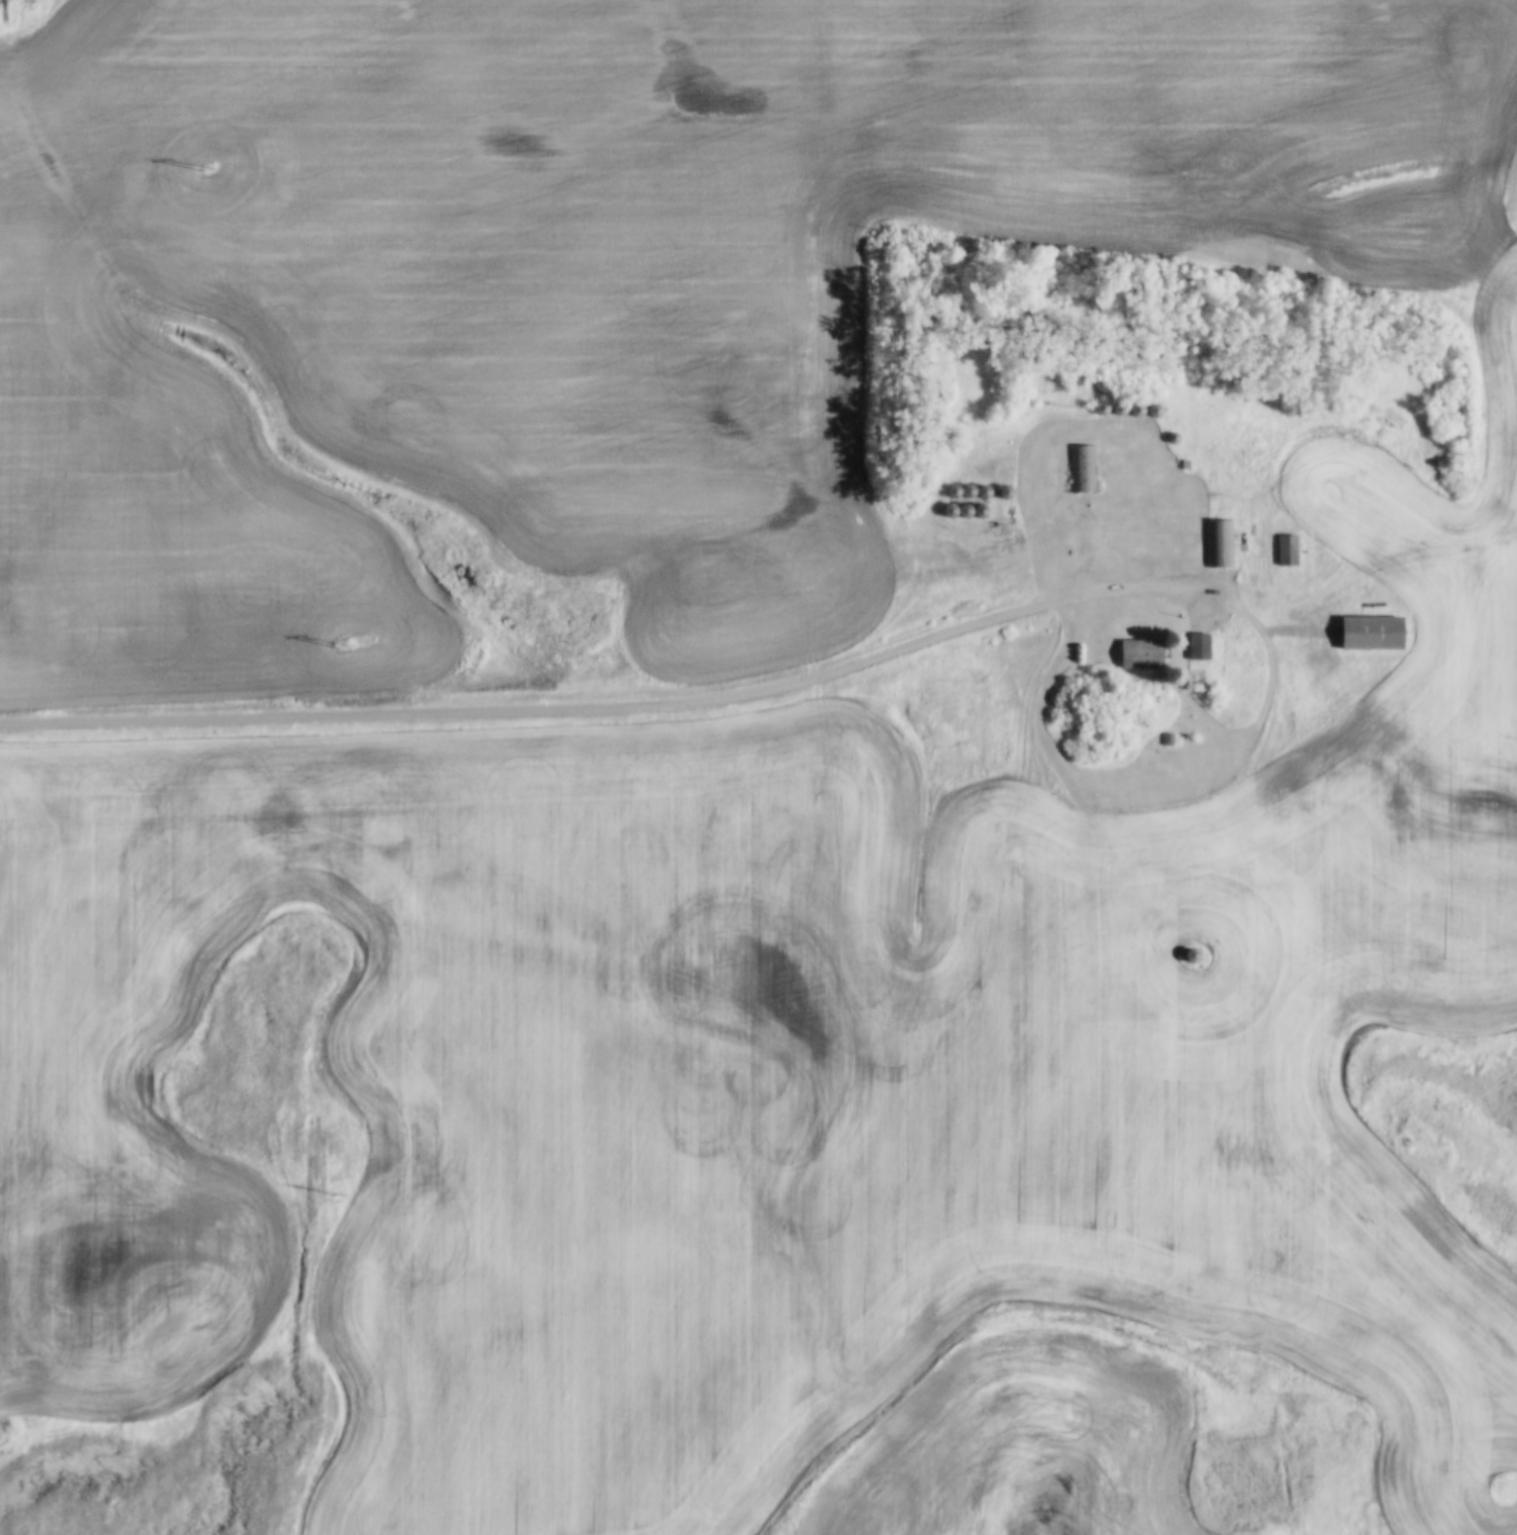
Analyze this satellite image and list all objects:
building: (1134, 411)
building: (1153, 412)
building: (1080, 468)
building: (961, 498)
building: (1217, 543)
building: (1285, 549)
building: (1370, 633)
building: (1197, 647)
building: (1140, 654)
road: (614, 706)
building: (1186, 956)

